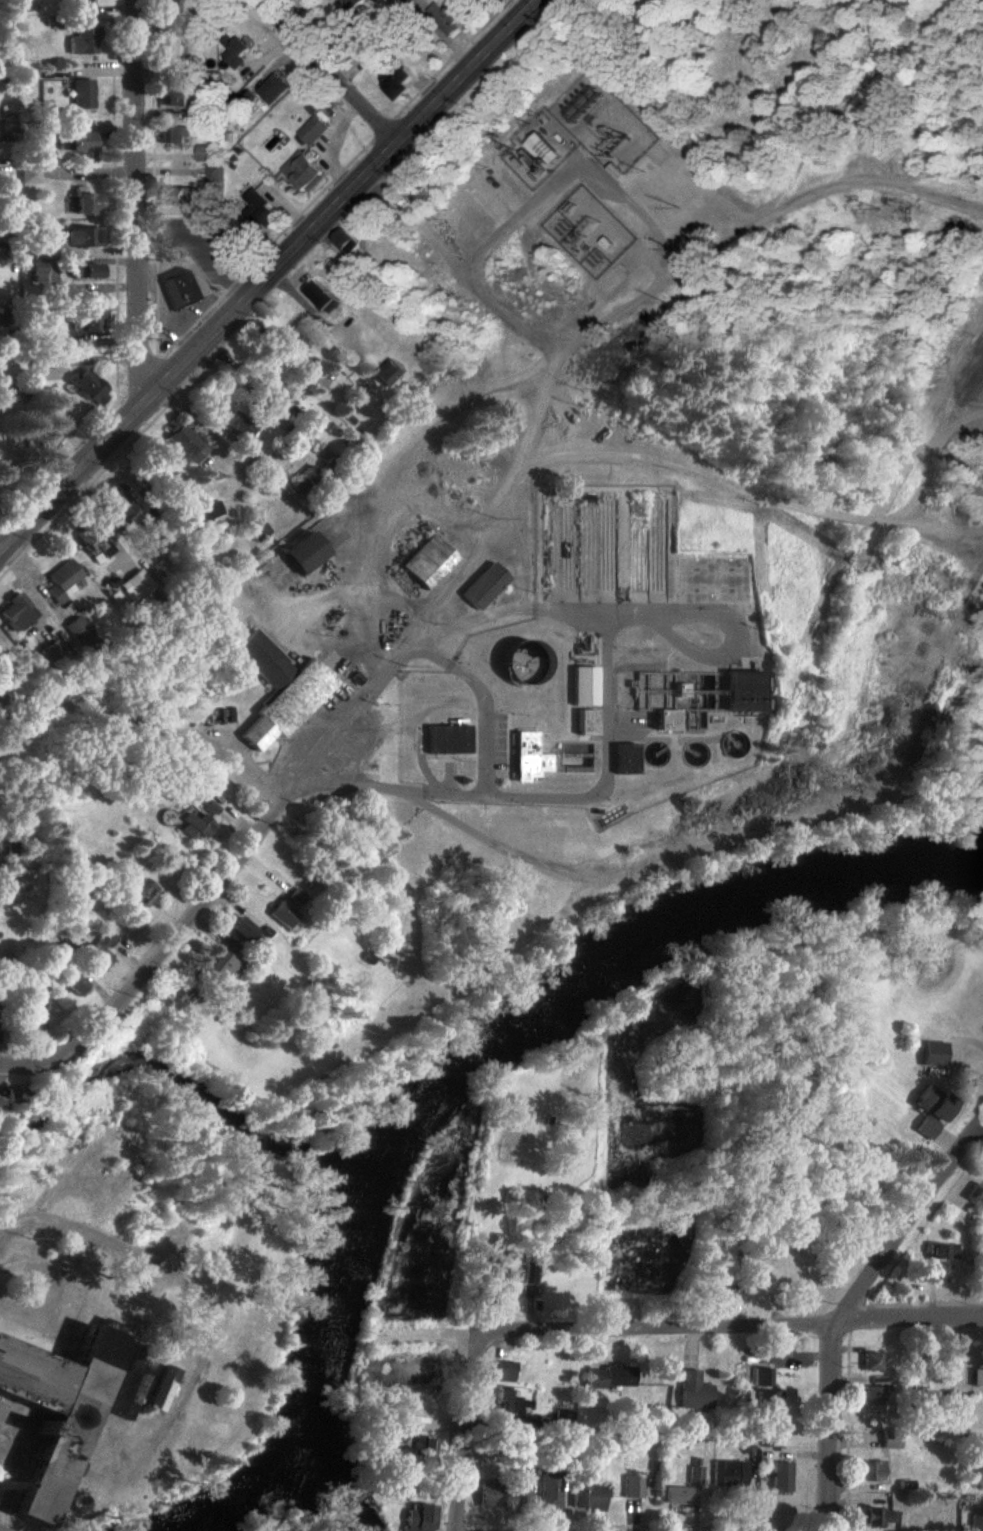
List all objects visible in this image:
building: (73, 0)
building: (375, 0)
building: (413, 2)
building: (352, 3)
building: (169, 6)
building: (451, 17)
building: (82, 40)
building: (239, 52)
building: (174, 53)
road: (454, 59)
road: (331, 70)
building: (391, 74)
building: (275, 87)
building: (81, 93)
building: (249, 98)
building: (180, 100)
power substation: (607, 126)
road: (153, 127)
building: (314, 128)
road: (386, 128)
building: (177, 134)
road: (563, 140)
building: (79, 141)
building: (545, 148)
building: (206, 152)
building: (304, 171)
building: (215, 172)
building: (181, 195)
building: (84, 201)
road: (636, 204)
road: (137, 206)
building: (260, 207)
road: (308, 209)
power substation: (592, 232)
road: (116, 234)
building: (80, 236)
road: (156, 239)
building: (347, 240)
road: (204, 246)
road: (484, 251)
road: (156, 255)
road: (637, 260)
road: (653, 262)
building: (37, 270)
building: (85, 270)
road: (272, 277)
road: (230, 287)
building: (179, 288)
building: (322, 296)
road: (156, 298)
road: (219, 299)
road: (208, 310)
building: (86, 319)
road: (195, 324)
road: (183, 336)
building: (292, 344)
road: (159, 354)
road: (160, 356)
building: (387, 372)
road: (142, 375)
building: (87, 386)
building: (275, 388)
road: (169, 404)
road: (457, 410)
road: (133, 413)
building: (238, 422)
road: (145, 425)
road: (201, 426)
building: (48, 439)
building: (188, 444)
road: (63, 458)
building: (305, 479)
road: (82, 492)
road: (775, 499)
building: (117, 504)
building: (201, 516)
road: (376, 539)
road: (938, 539)
building: (303, 552)
building: (426, 561)
building: (62, 580)
building: (136, 585)
building: (483, 585)
road: (399, 602)
building: (15, 613)
building: (77, 630)
building: (48, 651)
road: (396, 652)
road: (603, 661)
building: (582, 686)
building: (278, 690)
building: (738, 691)
building: (663, 719)
building: (584, 721)
road: (149, 726)
building: (445, 739)
road: (483, 744)
building: (526, 757)
building: (623, 758)
building: (204, 807)
building: (190, 825)
building: (134, 892)
building: (287, 908)
building: (237, 929)
building: (96, 951)
road: (158, 954)
building: (219, 965)
building: (68, 982)
building: (933, 1053)
river: (494, 1065)
building: (934, 1103)
building: (926, 1127)
building: (976, 1193)
building: (943, 1251)
building: (529, 1275)
building: (493, 1286)
building: (723, 1299)
road: (851, 1310)
road: (732, 1327)
building: (871, 1361)
building: (504, 1371)
building: (611, 1376)
building: (762, 1376)
building: (977, 1376)
building: (161, 1388)
building: (693, 1390)
building: (872, 1395)
road: (180, 1396)
building: (506, 1404)
building: (768, 1405)
building: (68, 1409)
building: (563, 1418)
building: (395, 1427)
road: (469, 1438)
building: (892, 1438)
building: (423, 1446)
building: (980, 1456)
building: (873, 1470)
building: (696, 1473)
building: (730, 1473)
building: (781, 1476)
building: (907, 1484)
building: (632, 1486)
river: (258, 1489)
building: (550, 1491)
building: (520, 1492)
building: (489, 1494)
building: (678, 1495)
building: (588, 1497)
building: (881, 1516)
building: (418, 1517)
building: (977, 1522)
building: (4, 1524)

